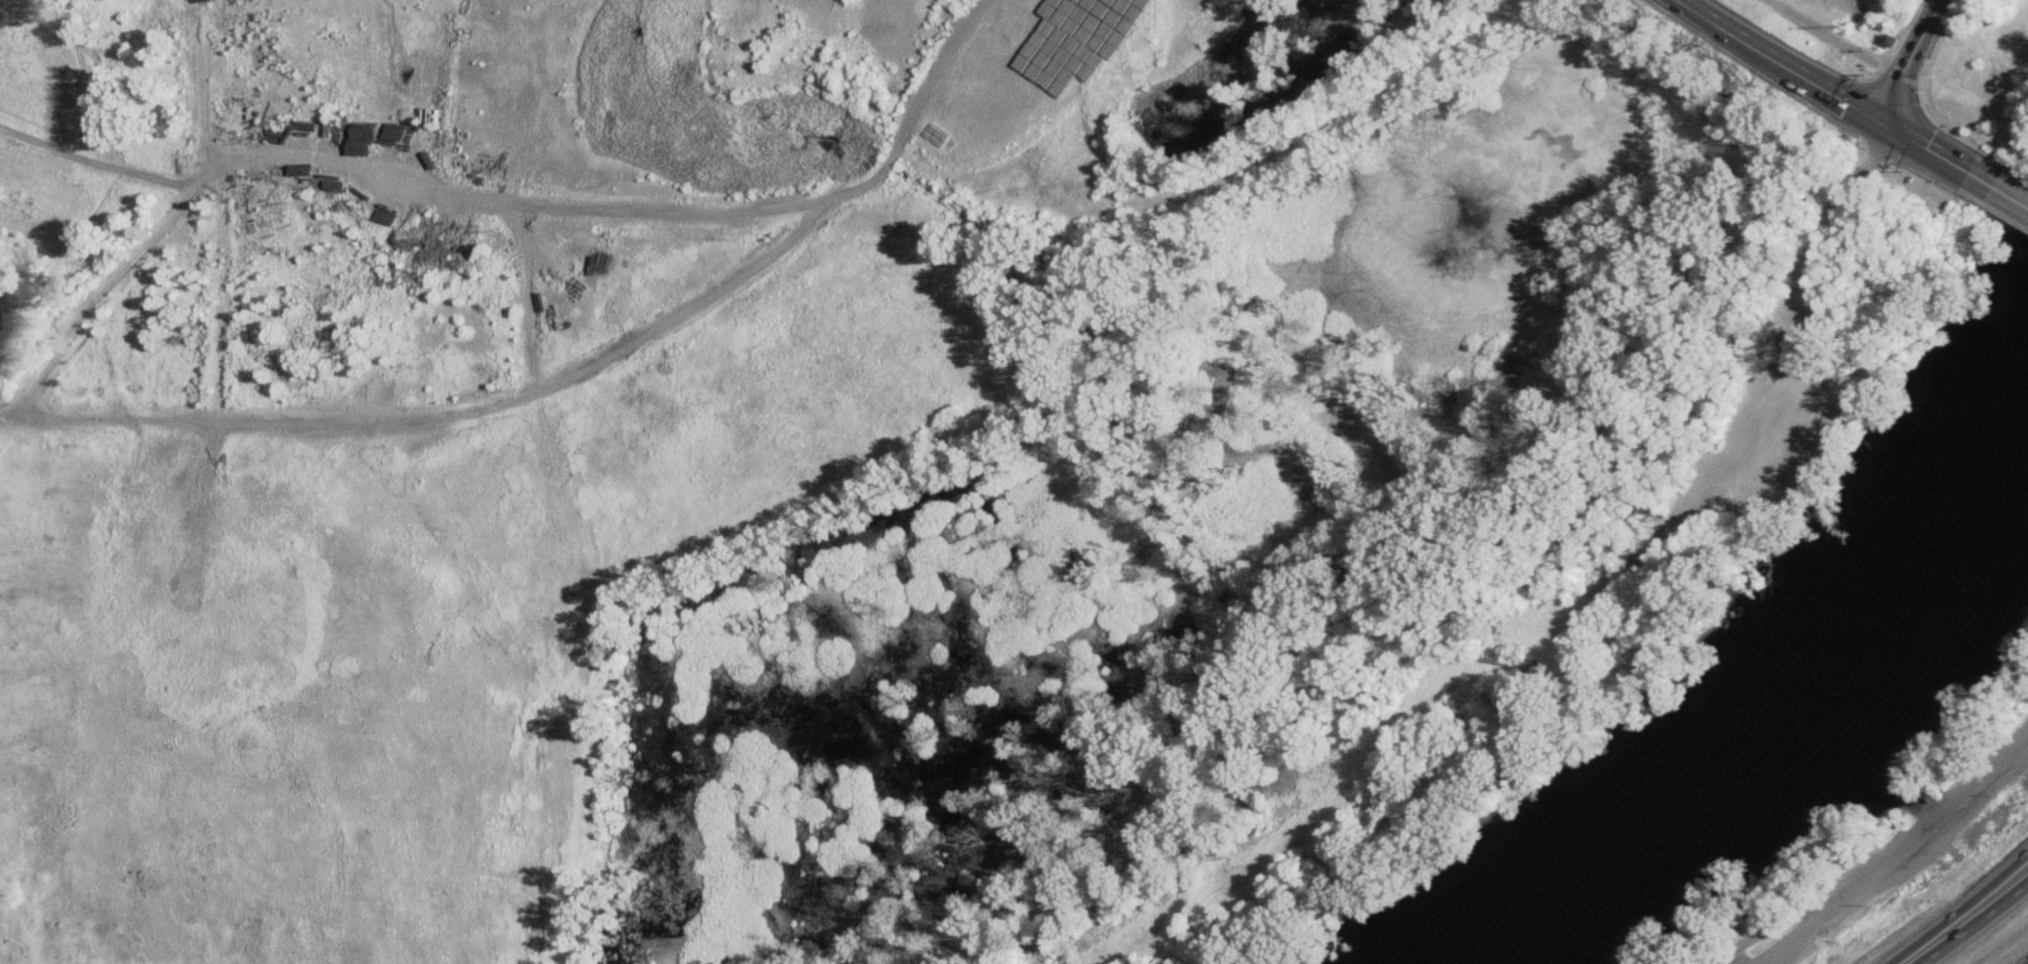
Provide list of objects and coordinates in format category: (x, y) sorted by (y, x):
park: (1849, 31)
road: (1837, 39)
road: (1781, 47)
road: (1920, 58)
road: (205, 117)
traffic signals: (1894, 117)
building: (420, 119)
road: (1952, 128)
road: (1929, 140)
road: (2019, 172)
road: (2014, 194)
road: (540, 211)
road: (100, 298)
road: (444, 419)
river: (1983, 481)
river: (1718, 781)
road: (1917, 844)
road: (1885, 859)
road: (1962, 912)
road: (1977, 926)
road: (1785, 950)
parking lot: (1781, 951)

